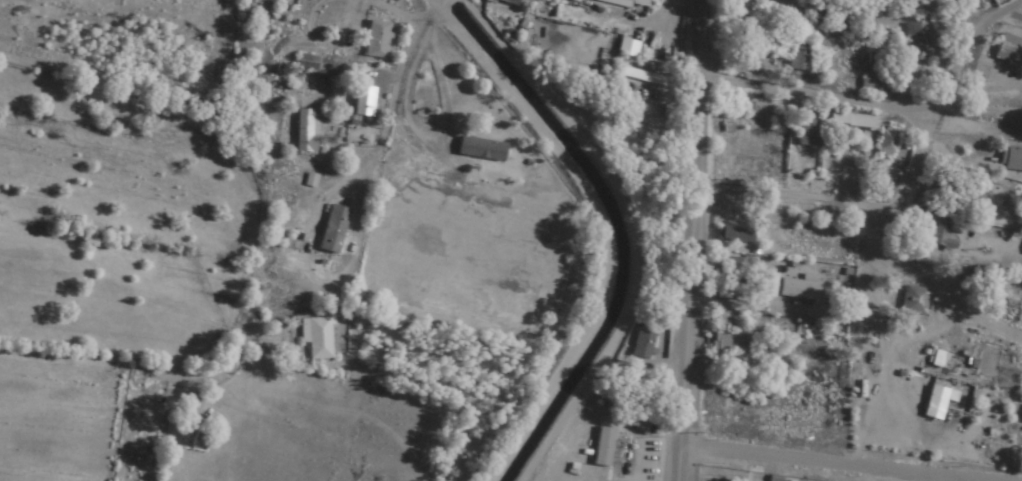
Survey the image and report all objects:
road: (441, 1)
building: (503, 2)
building: (628, 3)
building: (821, 14)
building: (917, 38)
building: (375, 39)
building: (627, 48)
building: (1007, 50)
road: (993, 52)
building: (800, 57)
road: (323, 60)
building: (305, 62)
building: (644, 77)
road: (838, 79)
building: (871, 87)
building: (363, 102)
building: (853, 121)
building: (305, 131)
building: (809, 131)
building: (886, 142)
building: (480, 149)
road: (366, 157)
building: (1010, 159)
building: (955, 192)
building: (981, 207)
road: (880, 208)
building: (333, 230)
road: (979, 233)
building: (735, 236)
building: (942, 238)
road: (691, 240)
building: (728, 270)
building: (765, 285)
building: (796, 289)
building: (914, 301)
building: (315, 337)
building: (726, 342)
building: (641, 347)
road: (445, 376)
building: (937, 402)
building: (1021, 422)
road: (851, 455)

